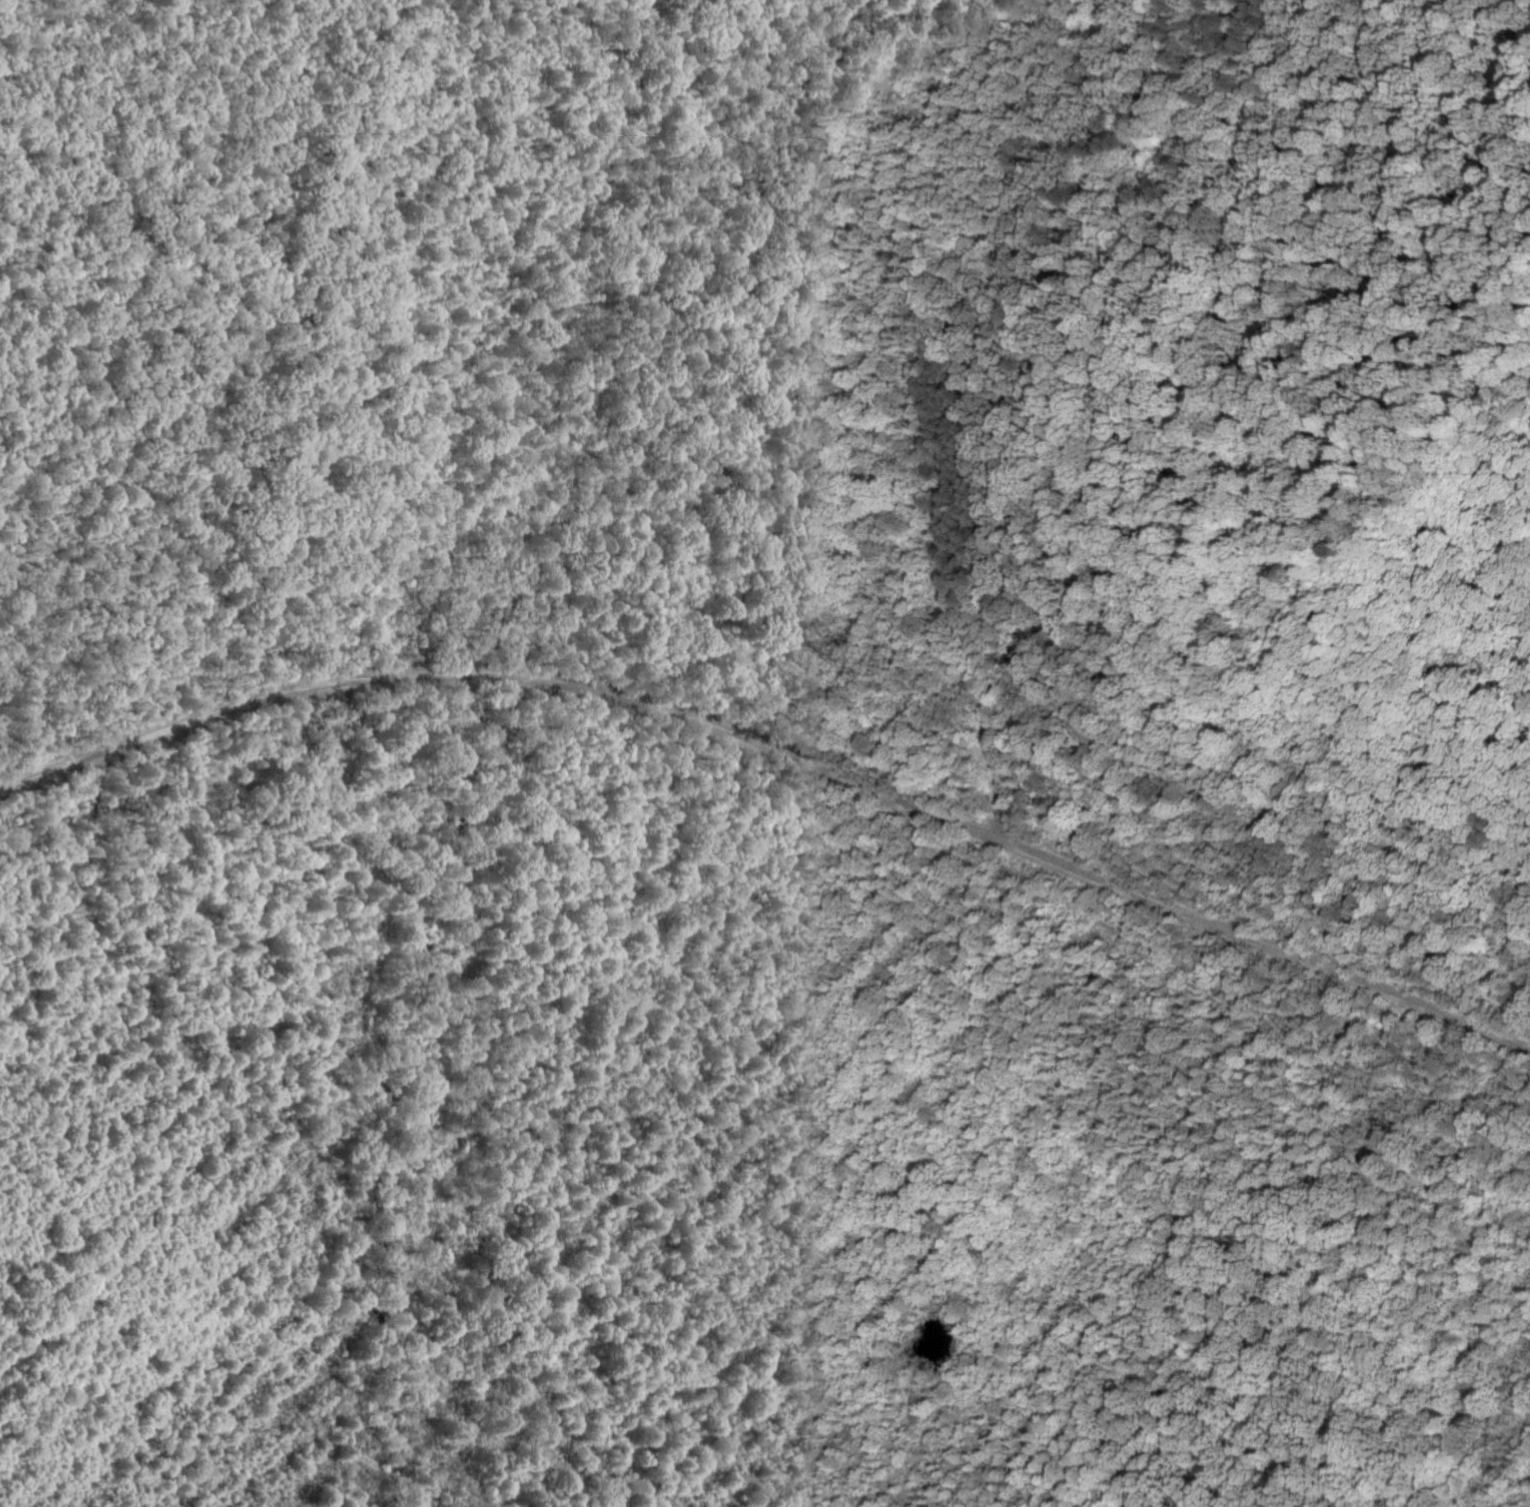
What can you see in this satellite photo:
road: (780, 750)

